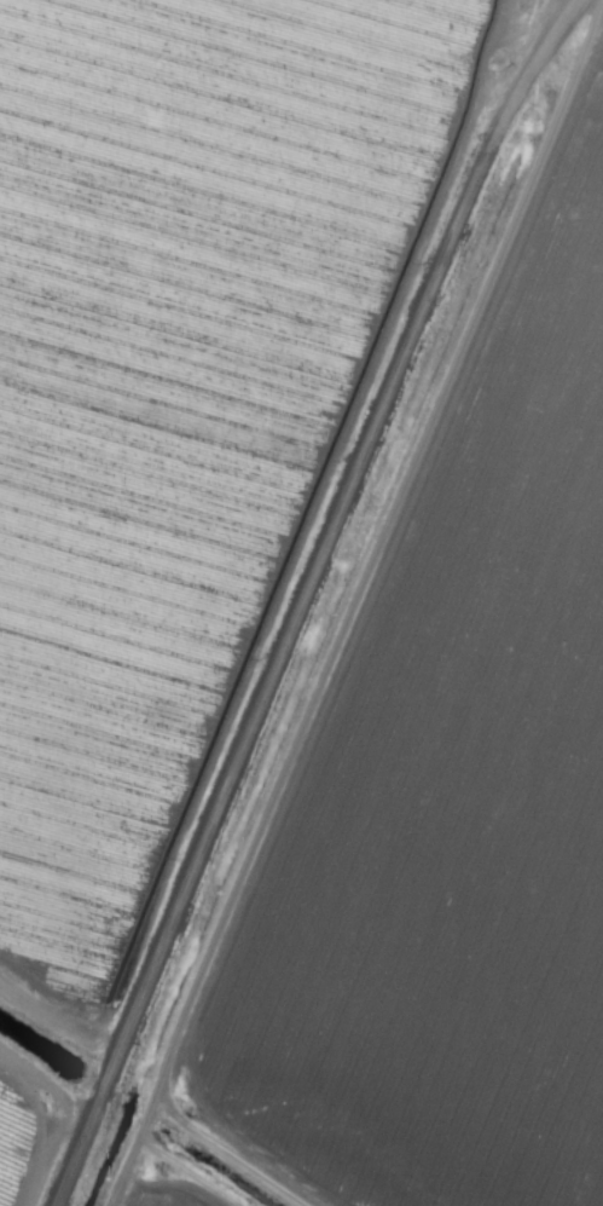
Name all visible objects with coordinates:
road: (312, 596)
crop: (301, 602)

